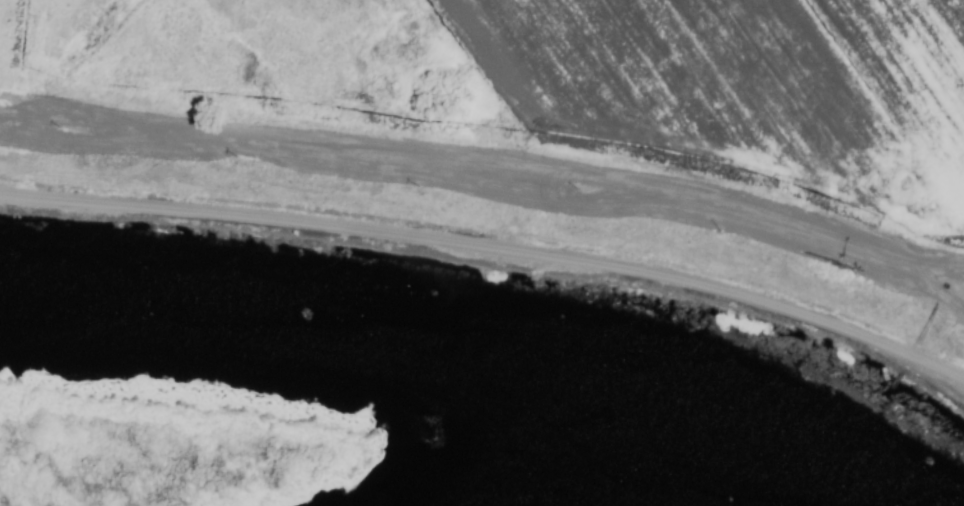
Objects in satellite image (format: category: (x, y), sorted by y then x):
crop: (540, 123)
road: (490, 249)

